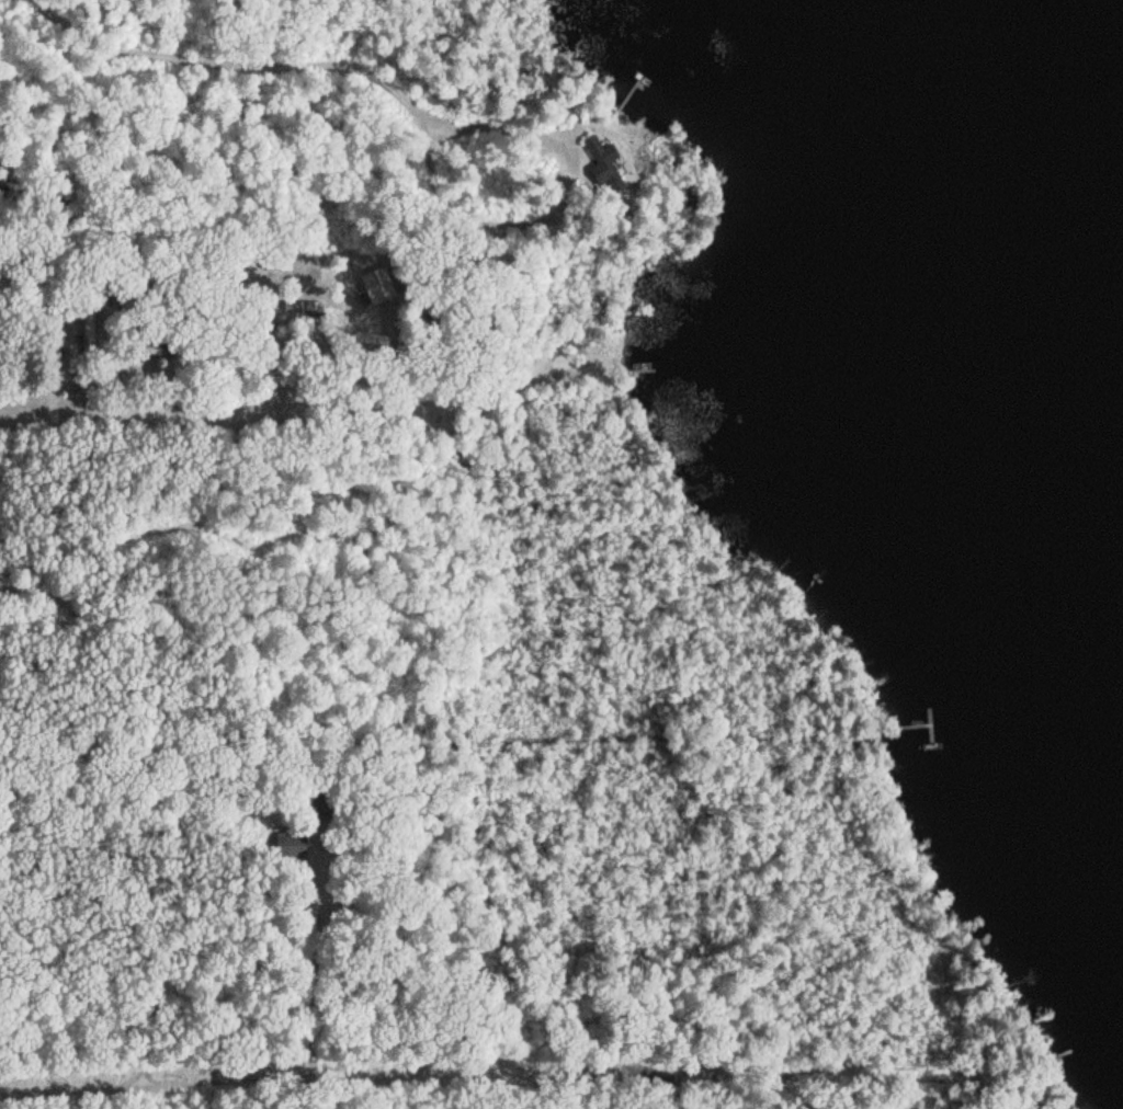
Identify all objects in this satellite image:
building: (599, 151)
road: (171, 416)

